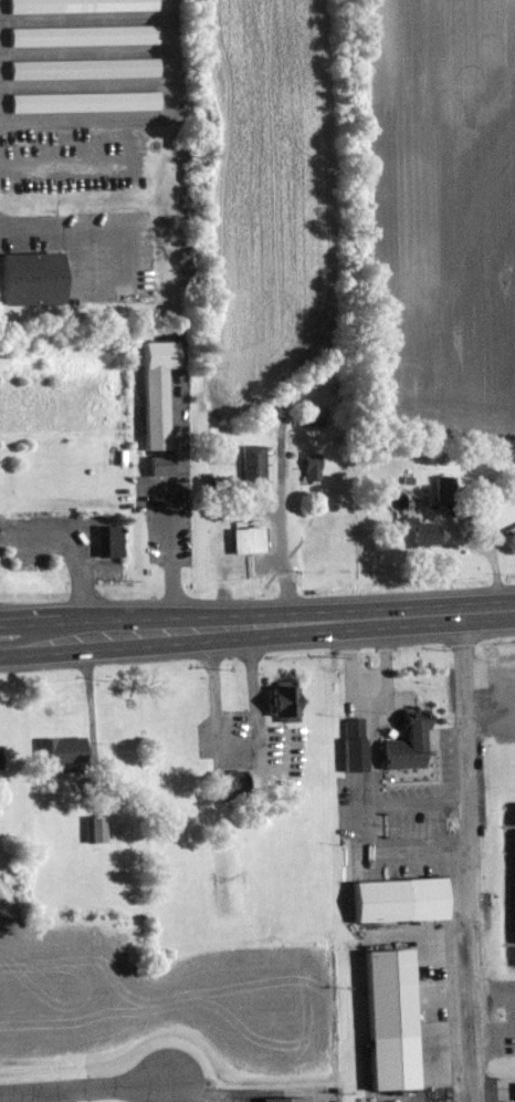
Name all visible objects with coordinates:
building: (83, 7)
building: (86, 37)
building: (85, 70)
building: (87, 103)
building: (36, 280)
building: (159, 392)
building: (316, 415)
building: (255, 460)
building: (164, 466)
building: (315, 467)
building: (449, 489)
road: (281, 521)
building: (424, 531)
building: (253, 540)
building: (113, 541)
road: (71, 549)
road: (171, 554)
road: (403, 618)
road: (147, 620)
road: (148, 647)
building: (291, 704)
building: (412, 741)
building: (358, 745)
road: (237, 748)
road: (371, 750)
building: (69, 752)
building: (97, 830)
road: (471, 859)
building: (398, 901)
building: (388, 1021)
road: (84, 1090)
road: (61, 1096)
building: (282, 1100)

